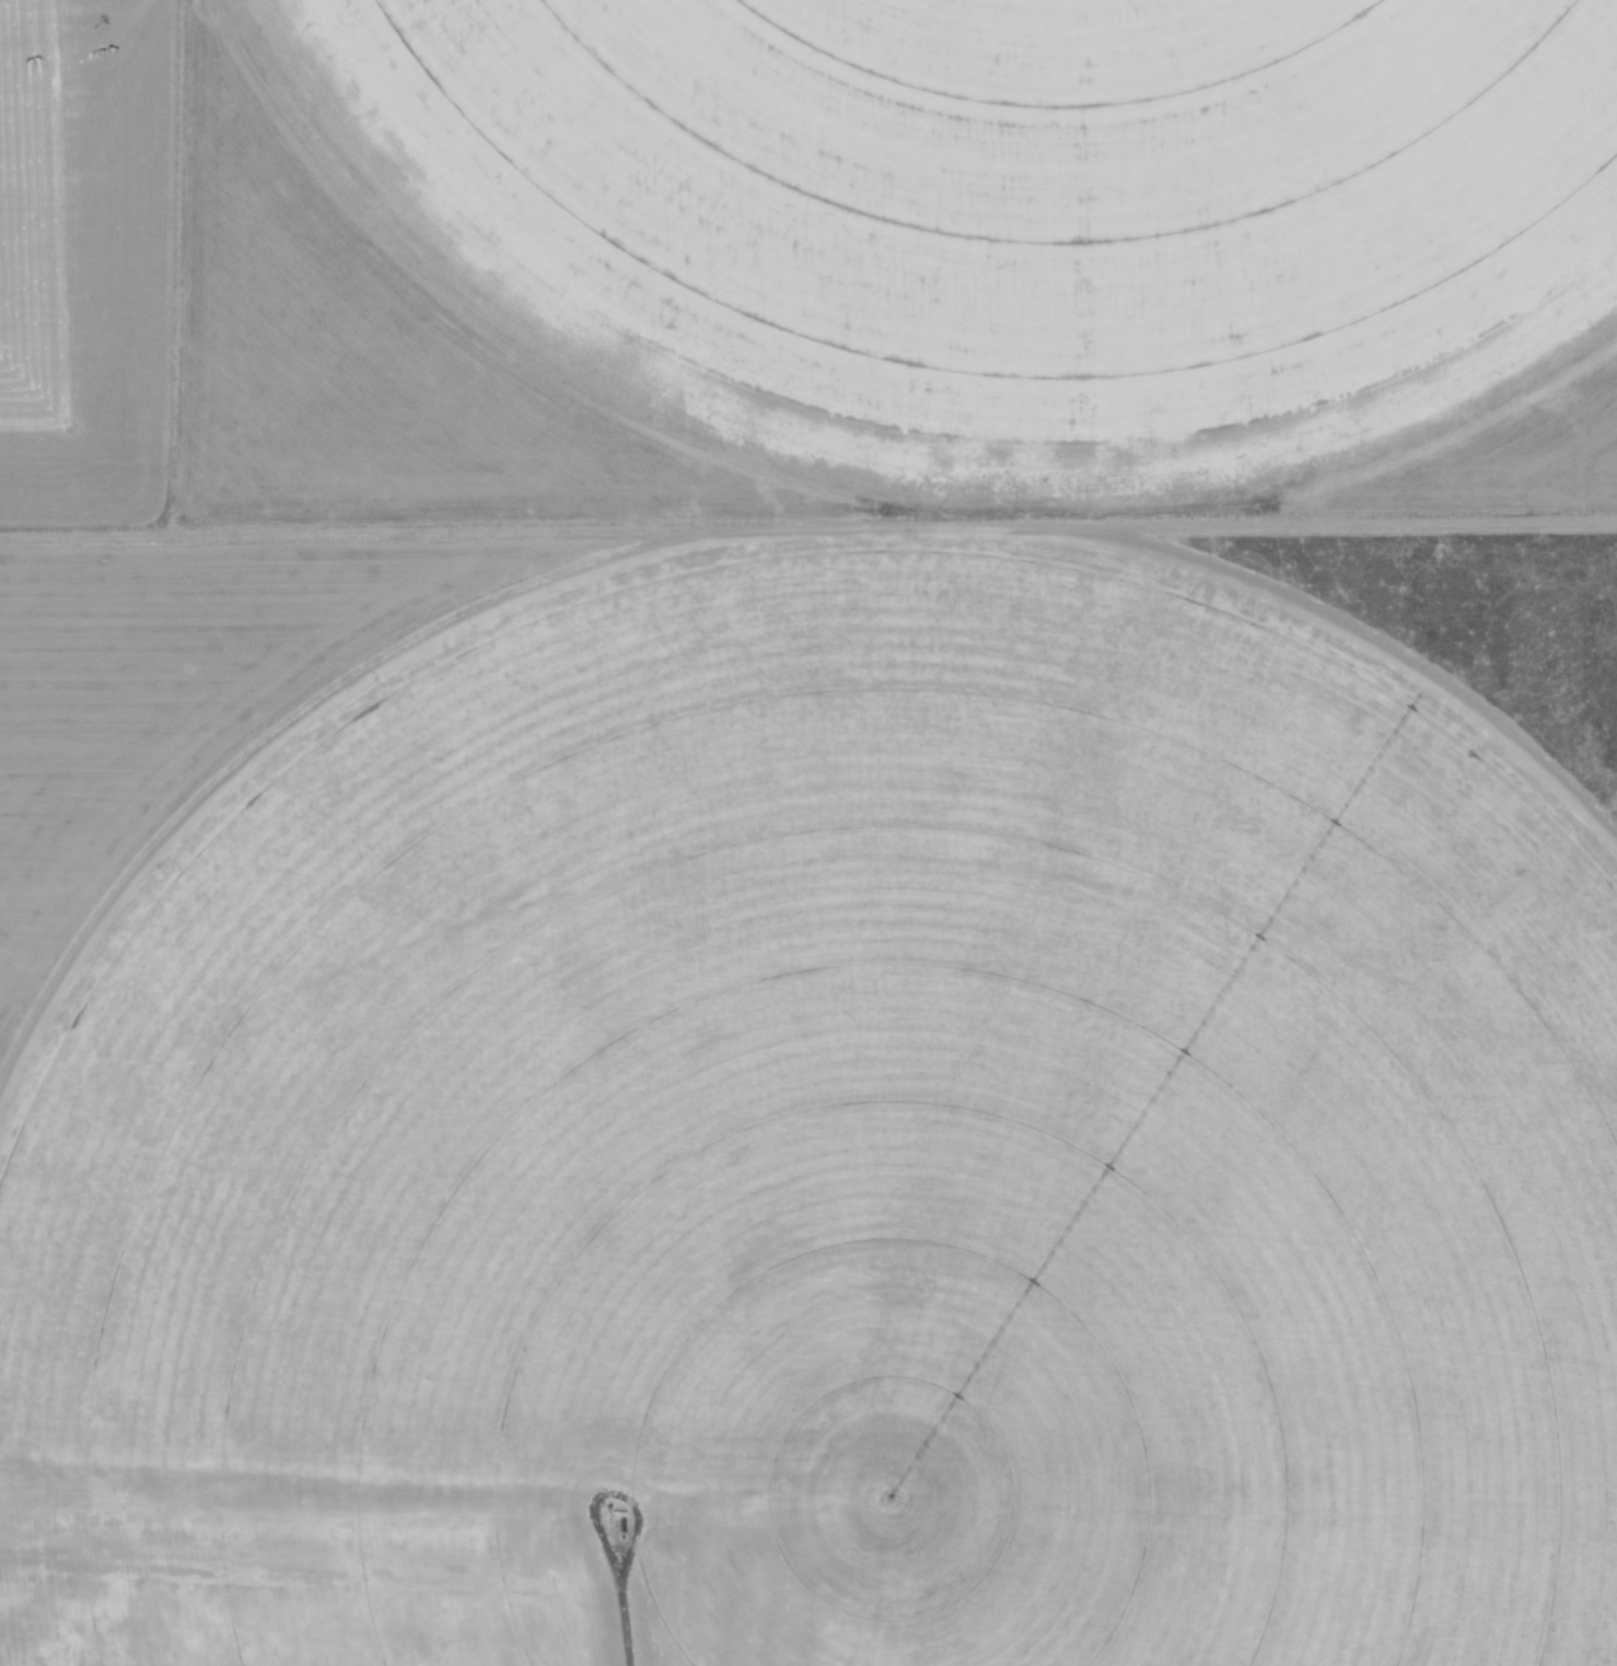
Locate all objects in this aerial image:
road: (616, 1598)

